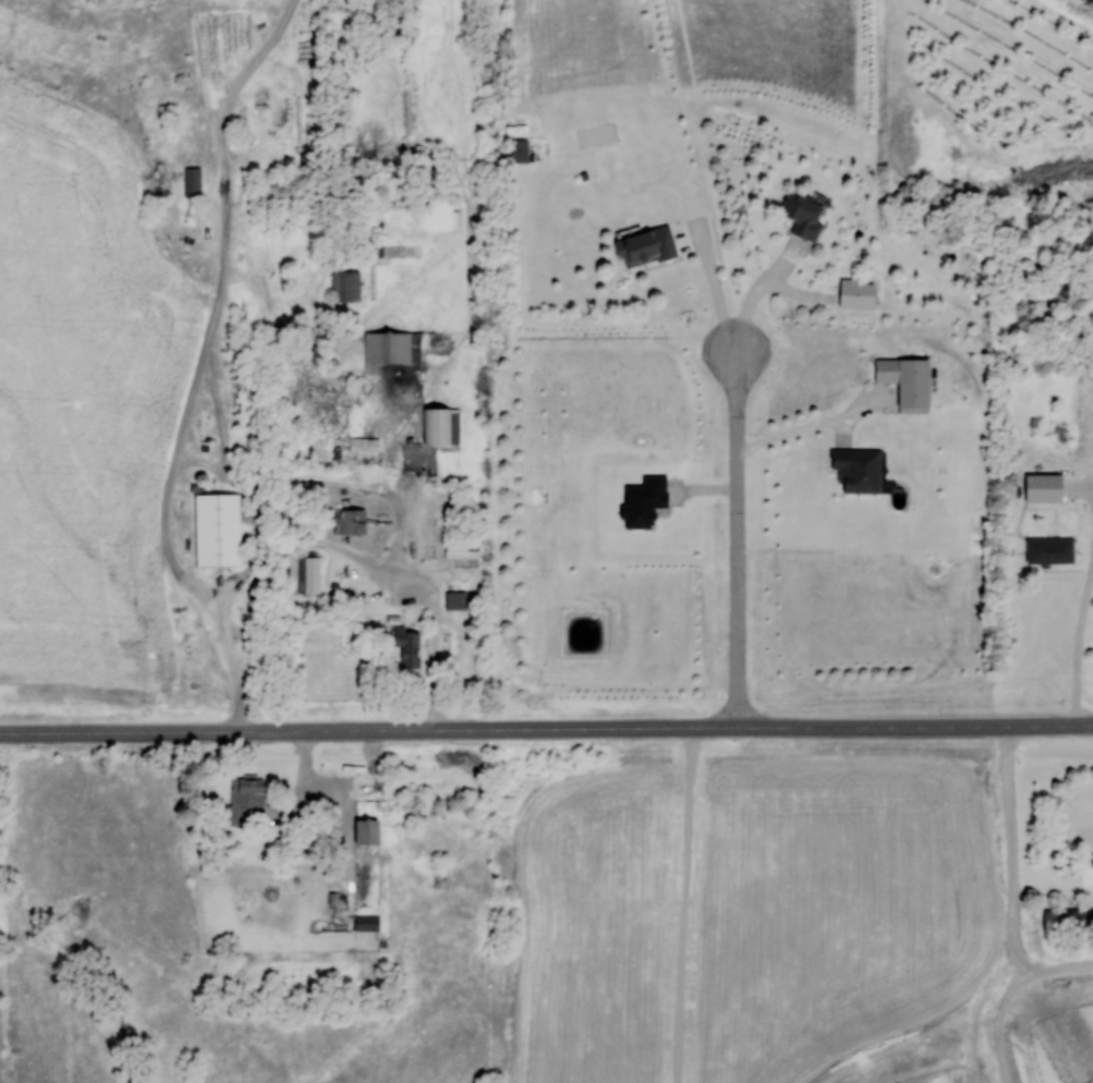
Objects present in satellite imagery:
building: (518, 150)
building: (192, 182)
building: (802, 215)
building: (645, 246)
building: (345, 285)
building: (855, 293)
building: (392, 346)
building: (886, 369)
building: (440, 426)
building: (363, 446)
building: (855, 470)
building: (349, 521)
building: (217, 530)
road: (739, 537)
building: (461, 551)
building: (1049, 551)
building: (308, 575)
building: (457, 601)
building: (408, 647)
road: (546, 730)
building: (244, 799)
building: (365, 831)
building: (366, 922)
building: (1068, 923)

